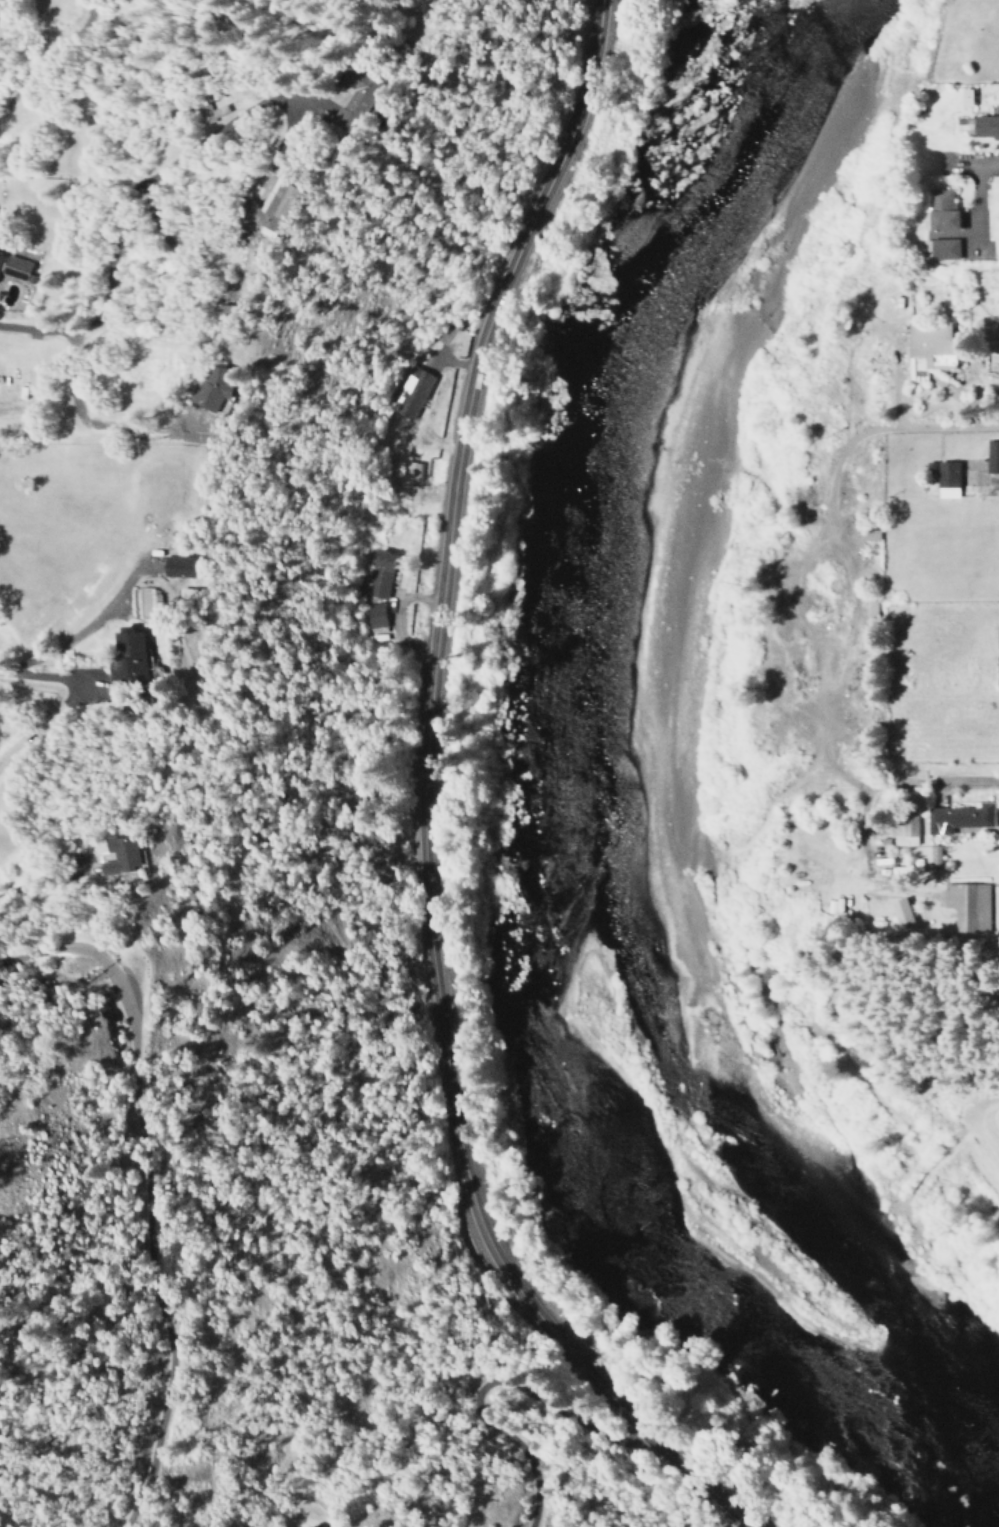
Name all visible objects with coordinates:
building: (0, 0)
road: (42, 62)
building: (335, 91)
building: (964, 97)
road: (302, 104)
building: (194, 107)
building: (984, 126)
road: (980, 162)
road: (133, 194)
building: (254, 203)
building: (937, 209)
building: (939, 249)
building: (13, 268)
building: (215, 308)
building: (209, 386)
building: (411, 392)
road: (104, 429)
road: (918, 430)
building: (991, 456)
building: (410, 471)
building: (945, 479)
road: (993, 481)
building: (868, 535)
building: (176, 567)
building: (379, 574)
road: (852, 603)
building: (374, 614)
building: (127, 656)
road: (43, 684)
road: (50, 732)
road: (907, 777)
river: (548, 808)
road: (425, 810)
building: (958, 818)
road: (755, 829)
building: (904, 831)
building: (122, 853)
building: (933, 856)
road: (47, 882)
building: (966, 906)
road: (146, 1193)

